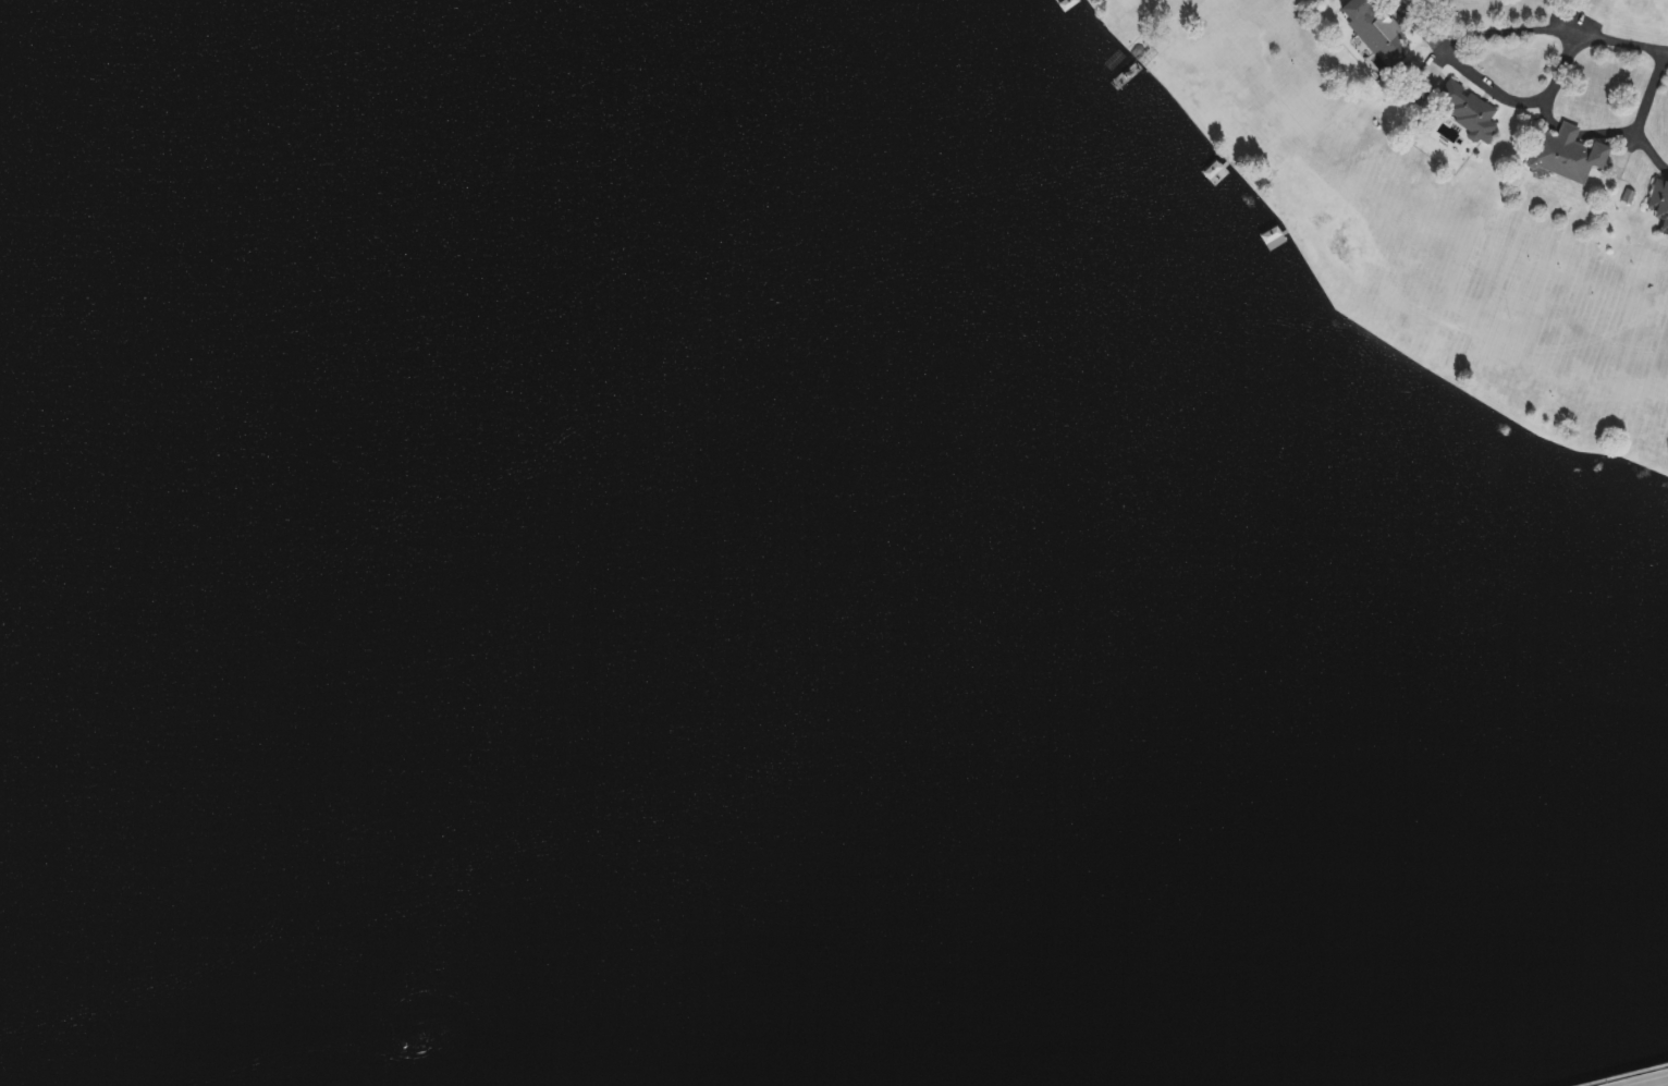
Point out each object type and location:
building: (1373, 26)
road: (1554, 28)
road: (1494, 86)
building: (1464, 107)
road: (1621, 130)
road: (1652, 148)
building: (1565, 152)
building: (1659, 203)
road: (1624, 1075)
road: (1657, 1083)

